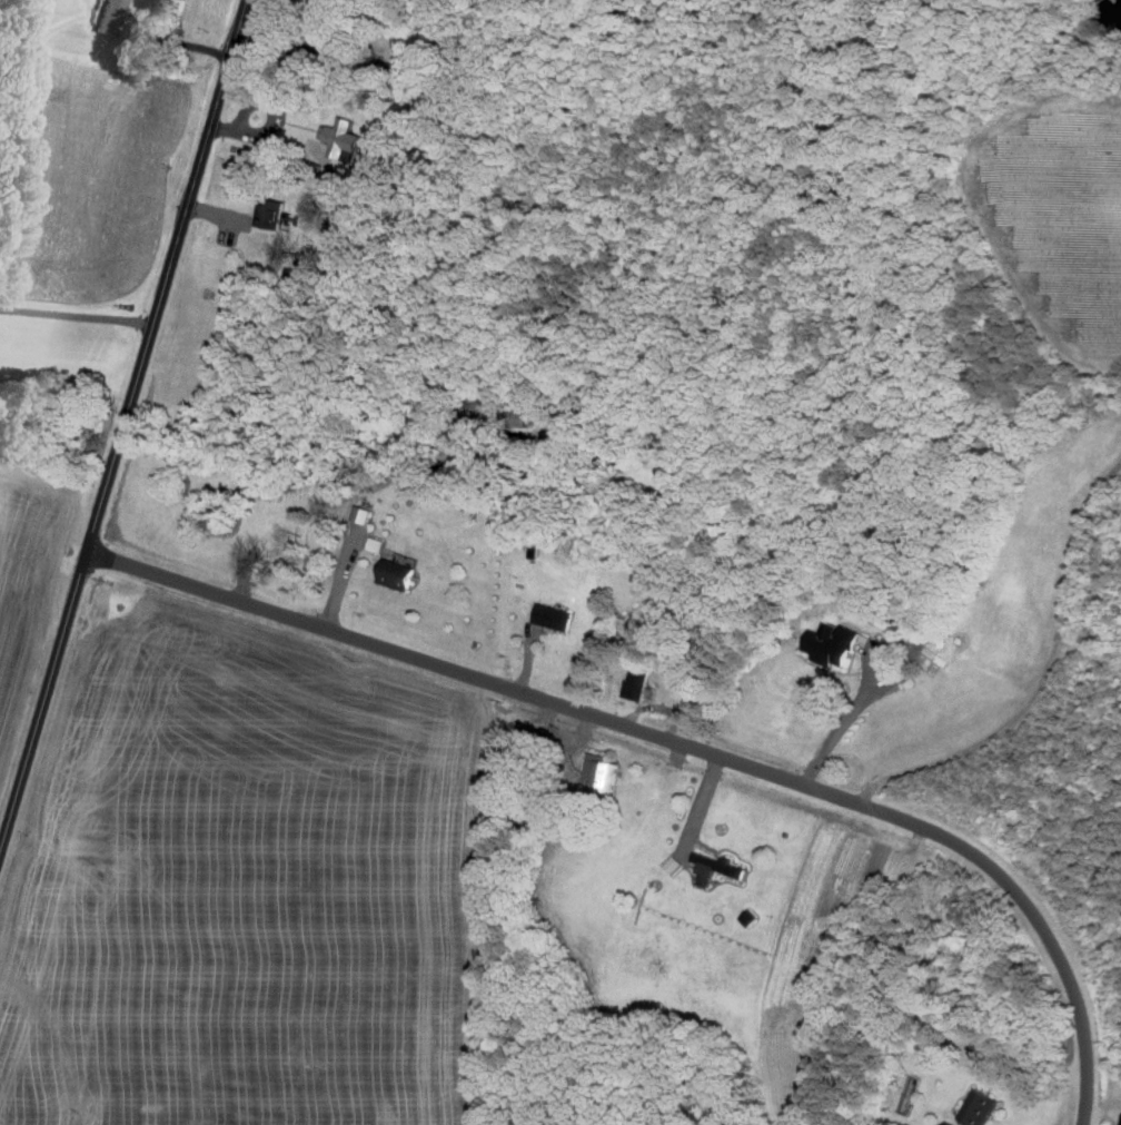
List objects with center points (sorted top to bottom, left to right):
building: (111, 16)
building: (341, 136)
building: (275, 211)
road: (168, 275)
road: (77, 315)
building: (377, 543)
building: (399, 578)
building: (555, 614)
building: (863, 641)
building: (834, 644)
building: (638, 680)
road: (43, 704)
road: (682, 743)
building: (717, 866)
building: (981, 1106)

